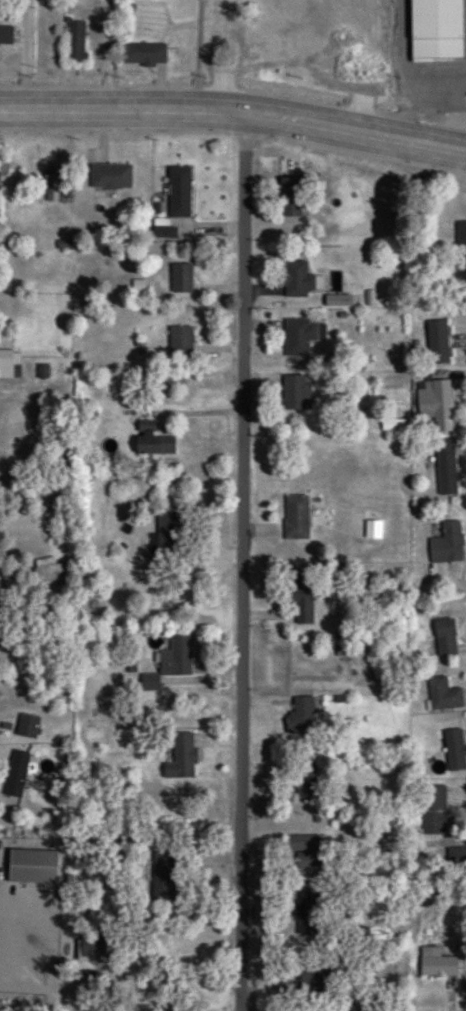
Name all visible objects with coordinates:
building: (435, 30)
building: (5, 36)
building: (75, 41)
building: (237, 49)
road: (20, 52)
road: (195, 53)
building: (143, 54)
road: (235, 108)
building: (461, 168)
building: (111, 176)
building: (52, 184)
building: (179, 191)
building: (289, 197)
building: (164, 233)
building: (460, 246)
building: (181, 278)
building: (298, 280)
building: (299, 337)
building: (180, 341)
building: (437, 342)
building: (6, 364)
building: (296, 393)
building: (435, 404)
building: (152, 440)
building: (446, 468)
building: (62, 469)
building: (296, 518)
building: (56, 521)
building: (165, 541)
road: (34, 542)
building: (446, 545)
road: (250, 561)
building: (50, 571)
building: (300, 598)
building: (445, 638)
building: (170, 663)
building: (443, 695)
building: (302, 715)
building: (27, 726)
building: (454, 750)
road: (8, 756)
building: (181, 757)
building: (16, 774)
building: (305, 782)
building: (431, 810)
road: (28, 847)
building: (304, 850)
building: (456, 857)
building: (32, 866)
building: (308, 912)
building: (93, 946)
building: (436, 963)
building: (87, 979)
building: (317, 979)

